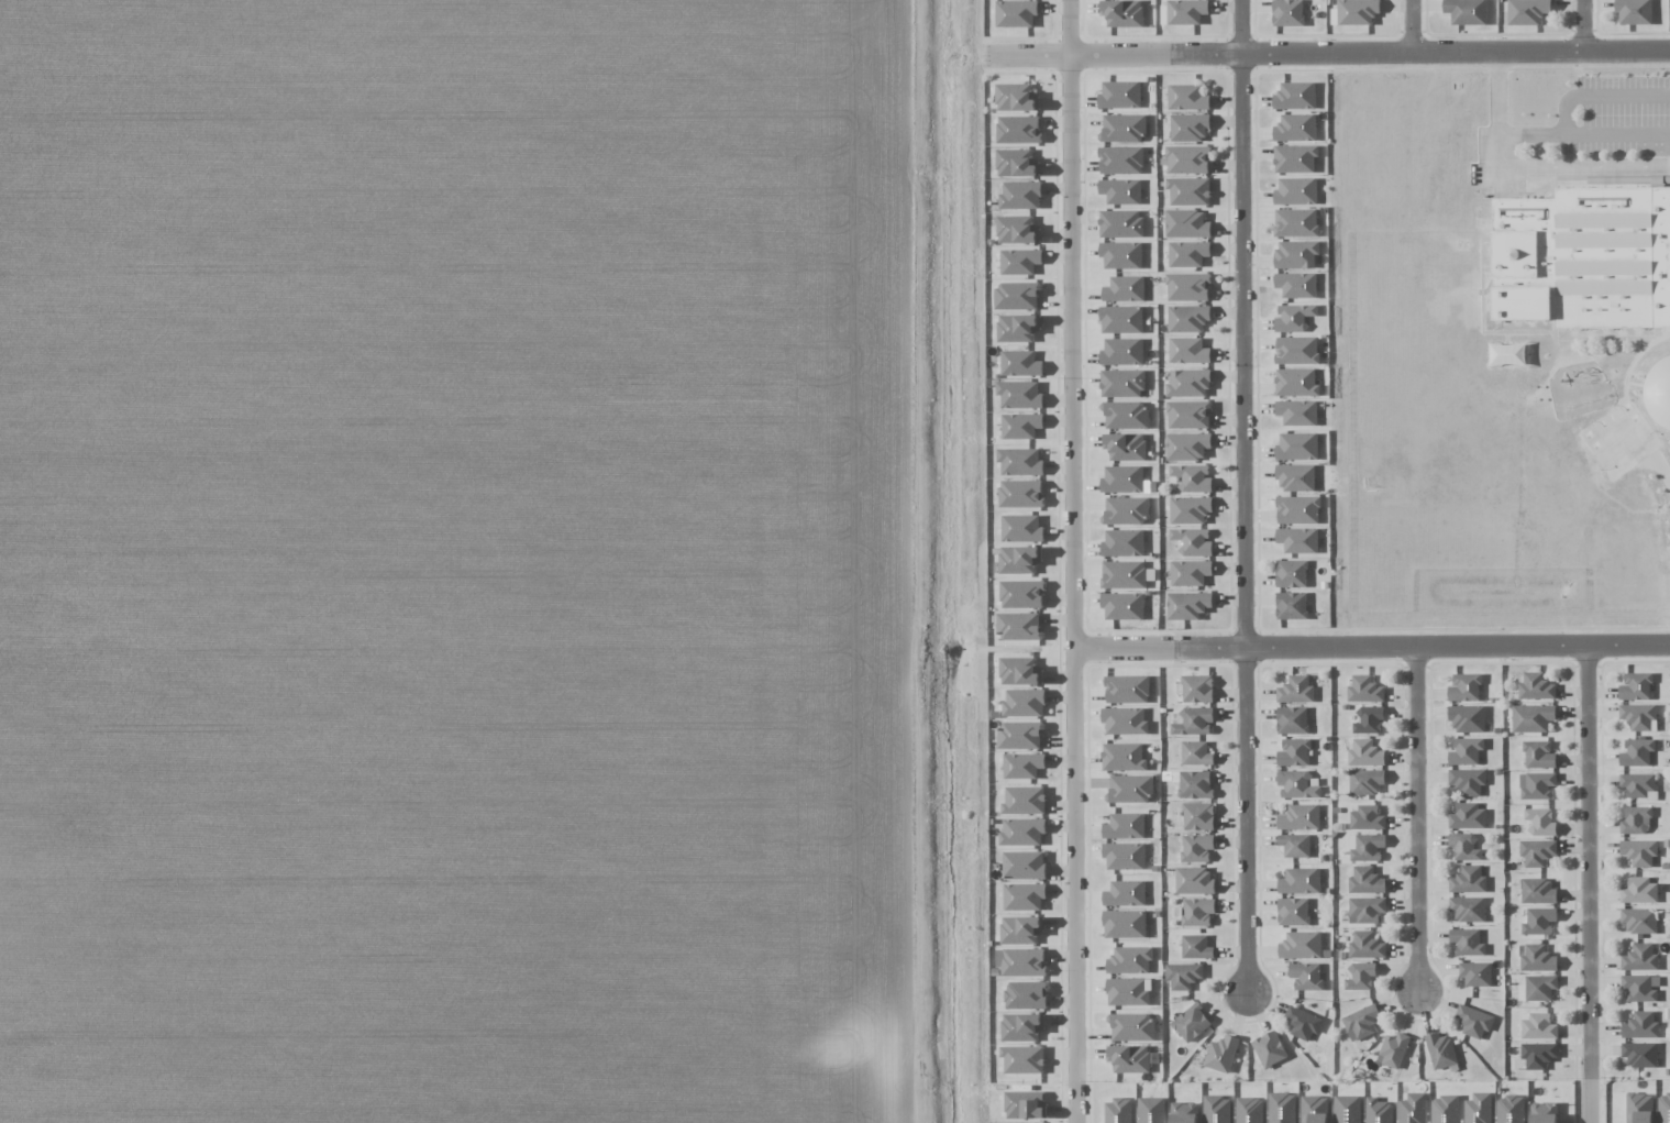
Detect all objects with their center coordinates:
building: (1186, 11)
building: (1467, 11)
building: (1527, 11)
building: (1634, 11)
building: (1287, 12)
building: (1357, 12)
building: (1016, 13)
building: (1124, 13)
road: (1582, 25)
road: (1423, 26)
road: (1372, 53)
building: (1120, 95)
building: (1295, 96)
building: (1187, 97)
building: (1016, 98)
building: (1190, 126)
building: (1122, 128)
building: (1295, 128)
building: (1018, 129)
building: (1295, 158)
building: (1121, 159)
building: (1187, 159)
building: (1017, 163)
road: (1526, 167)
building: (1121, 191)
building: (1188, 191)
building: (1296, 191)
building: (1020, 195)
building: (1295, 222)
building: (1120, 223)
building: (1186, 224)
building: (1017, 230)
building: (1187, 253)
building: (1296, 254)
building: (1121, 255)
building: (1584, 258)
building: (1019, 262)
building: (1296, 285)
building: (1187, 286)
building: (1124, 289)
building: (1016, 296)
building: (1187, 318)
building: (1294, 318)
building: (1121, 319)
building: (1018, 328)
building: (1296, 350)
building: (1187, 351)
building: (1121, 352)
building: (1020, 363)
building: (1121, 383)
building: (1188, 383)
building: (1296, 383)
building: (1019, 394)
building: (1659, 394)
building: (1297, 412)
building: (1126, 415)
building: (1188, 415)
building: (1020, 426)
building: (1127, 447)
building: (1187, 447)
building: (1297, 447)
building: (1019, 462)
building: (1296, 477)
building: (1192, 478)
building: (1122, 480)
building: (1020, 494)
road: (1243, 497)
building: (1190, 509)
building: (1297, 509)
building: (1126, 510)
building: (1021, 528)
building: (1298, 540)
building: (1193, 541)
building: (1122, 543)
building: (1018, 559)
road: (1074, 561)
building: (1190, 572)
building: (1291, 573)
building: (1124, 574)
building: (1021, 594)
building: (1187, 605)
building: (1291, 605)
building: (1122, 606)
building: (1018, 626)
road: (1371, 647)
building: (1019, 671)
building: (1536, 686)
building: (1636, 686)
building: (1464, 687)
building: (1127, 689)
building: (1197, 689)
building: (1364, 689)
building: (1295, 690)
building: (1024, 703)
building: (1637, 715)
building: (1467, 718)
building: (1531, 718)
building: (1368, 719)
building: (1125, 720)
building: (1292, 720)
building: (1194, 722)
building: (1019, 736)
building: (1466, 751)
building: (1294, 752)
building: (1637, 752)
building: (1195, 753)
building: (1365, 753)
building: (1538, 755)
building: (1124, 757)
building: (1022, 766)
building: (1468, 781)
building: (1365, 782)
building: (1195, 784)
building: (1296, 784)
building: (1637, 784)
building: (1536, 785)
building: (1130, 789)
building: (1024, 801)
building: (1198, 816)
building: (1467, 816)
building: (1299, 817)
building: (1367, 817)
building: (1636, 821)
building: (1540, 822)
road: (1416, 823)
building: (1125, 826)
building: (1021, 832)
building: (1295, 845)
building: (1464, 846)
building: (1196, 847)
building: (1365, 847)
building: (1536, 851)
building: (1639, 851)
building: (1125, 856)
building: (1024, 865)
building: (1469, 880)
building: (1194, 881)
building: (1301, 881)
building: (1365, 881)
road: (1599, 884)
building: (1536, 890)
building: (1639, 891)
building: (1125, 893)
building: (1024, 896)
building: (1468, 909)
building: (1365, 910)
building: (1197, 911)
building: (1293, 912)
building: (1538, 921)
building: (1638, 921)
building: (1125, 924)
building: (1021, 929)
building: (1467, 942)
building: (1301, 945)
building: (1365, 946)
building: (1196, 947)
building: (1639, 958)
building: (1537, 959)
building: (1130, 960)
building: (1021, 961)
building: (1475, 973)
building: (1183, 975)
building: (1306, 976)
building: (1360, 976)
building: (1537, 988)
building: (1640, 988)
building: (1127, 991)
building: (1026, 994)
building: (1473, 1021)
building: (1361, 1022)
building: (1191, 1023)
building: (1302, 1023)
building: (1640, 1025)
building: (1538, 1026)
building: (1021, 1027)
building: (1131, 1027)
building: (1269, 1049)
building: (1393, 1050)
building: (1441, 1052)
building: (1221, 1054)
building: (1639, 1054)
building: (1538, 1055)
building: (1130, 1058)
building: (1022, 1059)
building: (1151, 1110)
building: (1217, 1110)
building: (1184, 1113)
building: (1542, 1114)

